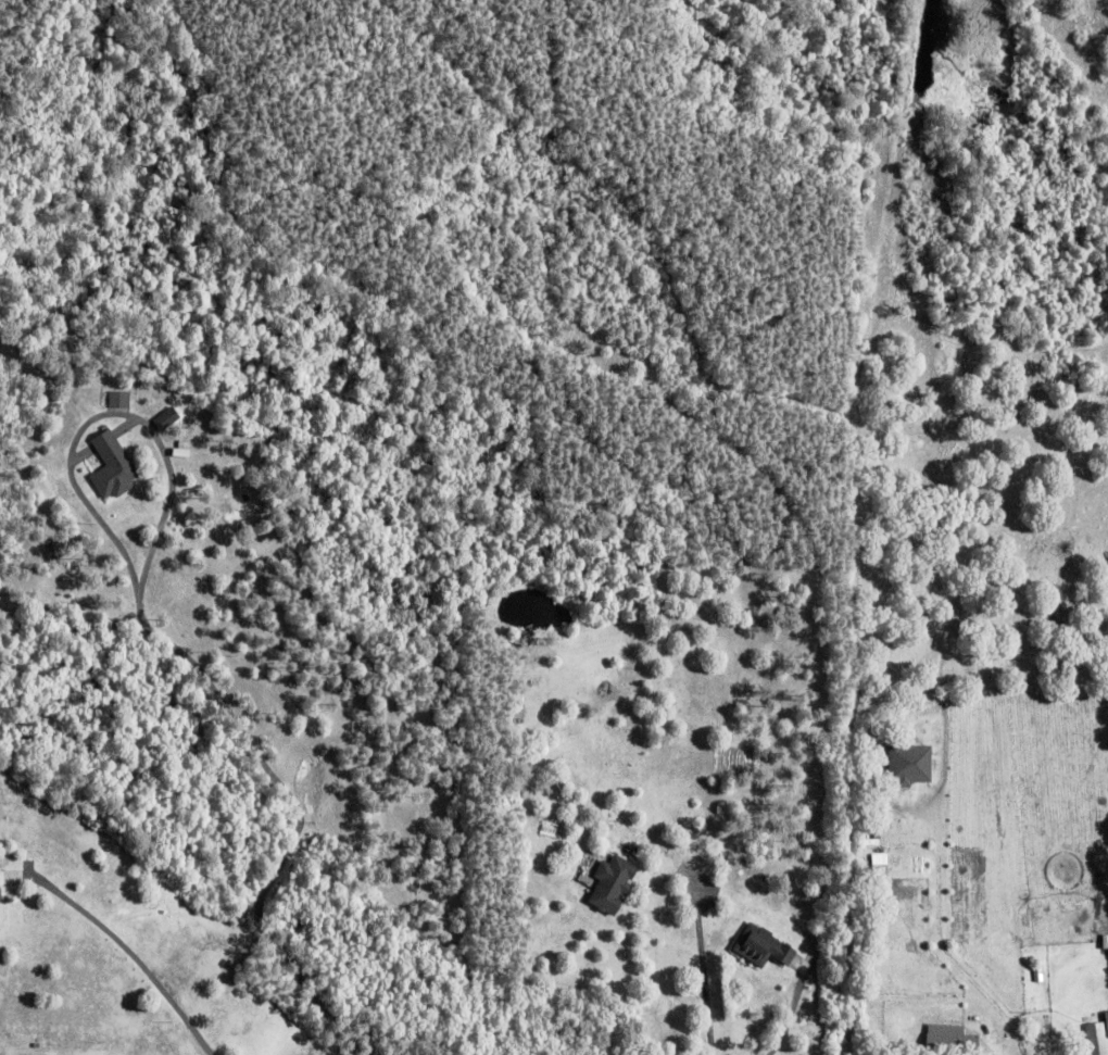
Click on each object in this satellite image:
building: (115, 399)
building: (108, 465)
building: (910, 765)
building: (687, 855)
building: (881, 874)
building: (607, 881)
building: (1103, 940)
building: (758, 945)
road: (134, 957)
road: (703, 967)
building: (1047, 989)
building: (1107, 1021)
building: (1097, 1039)
building: (952, 1041)

